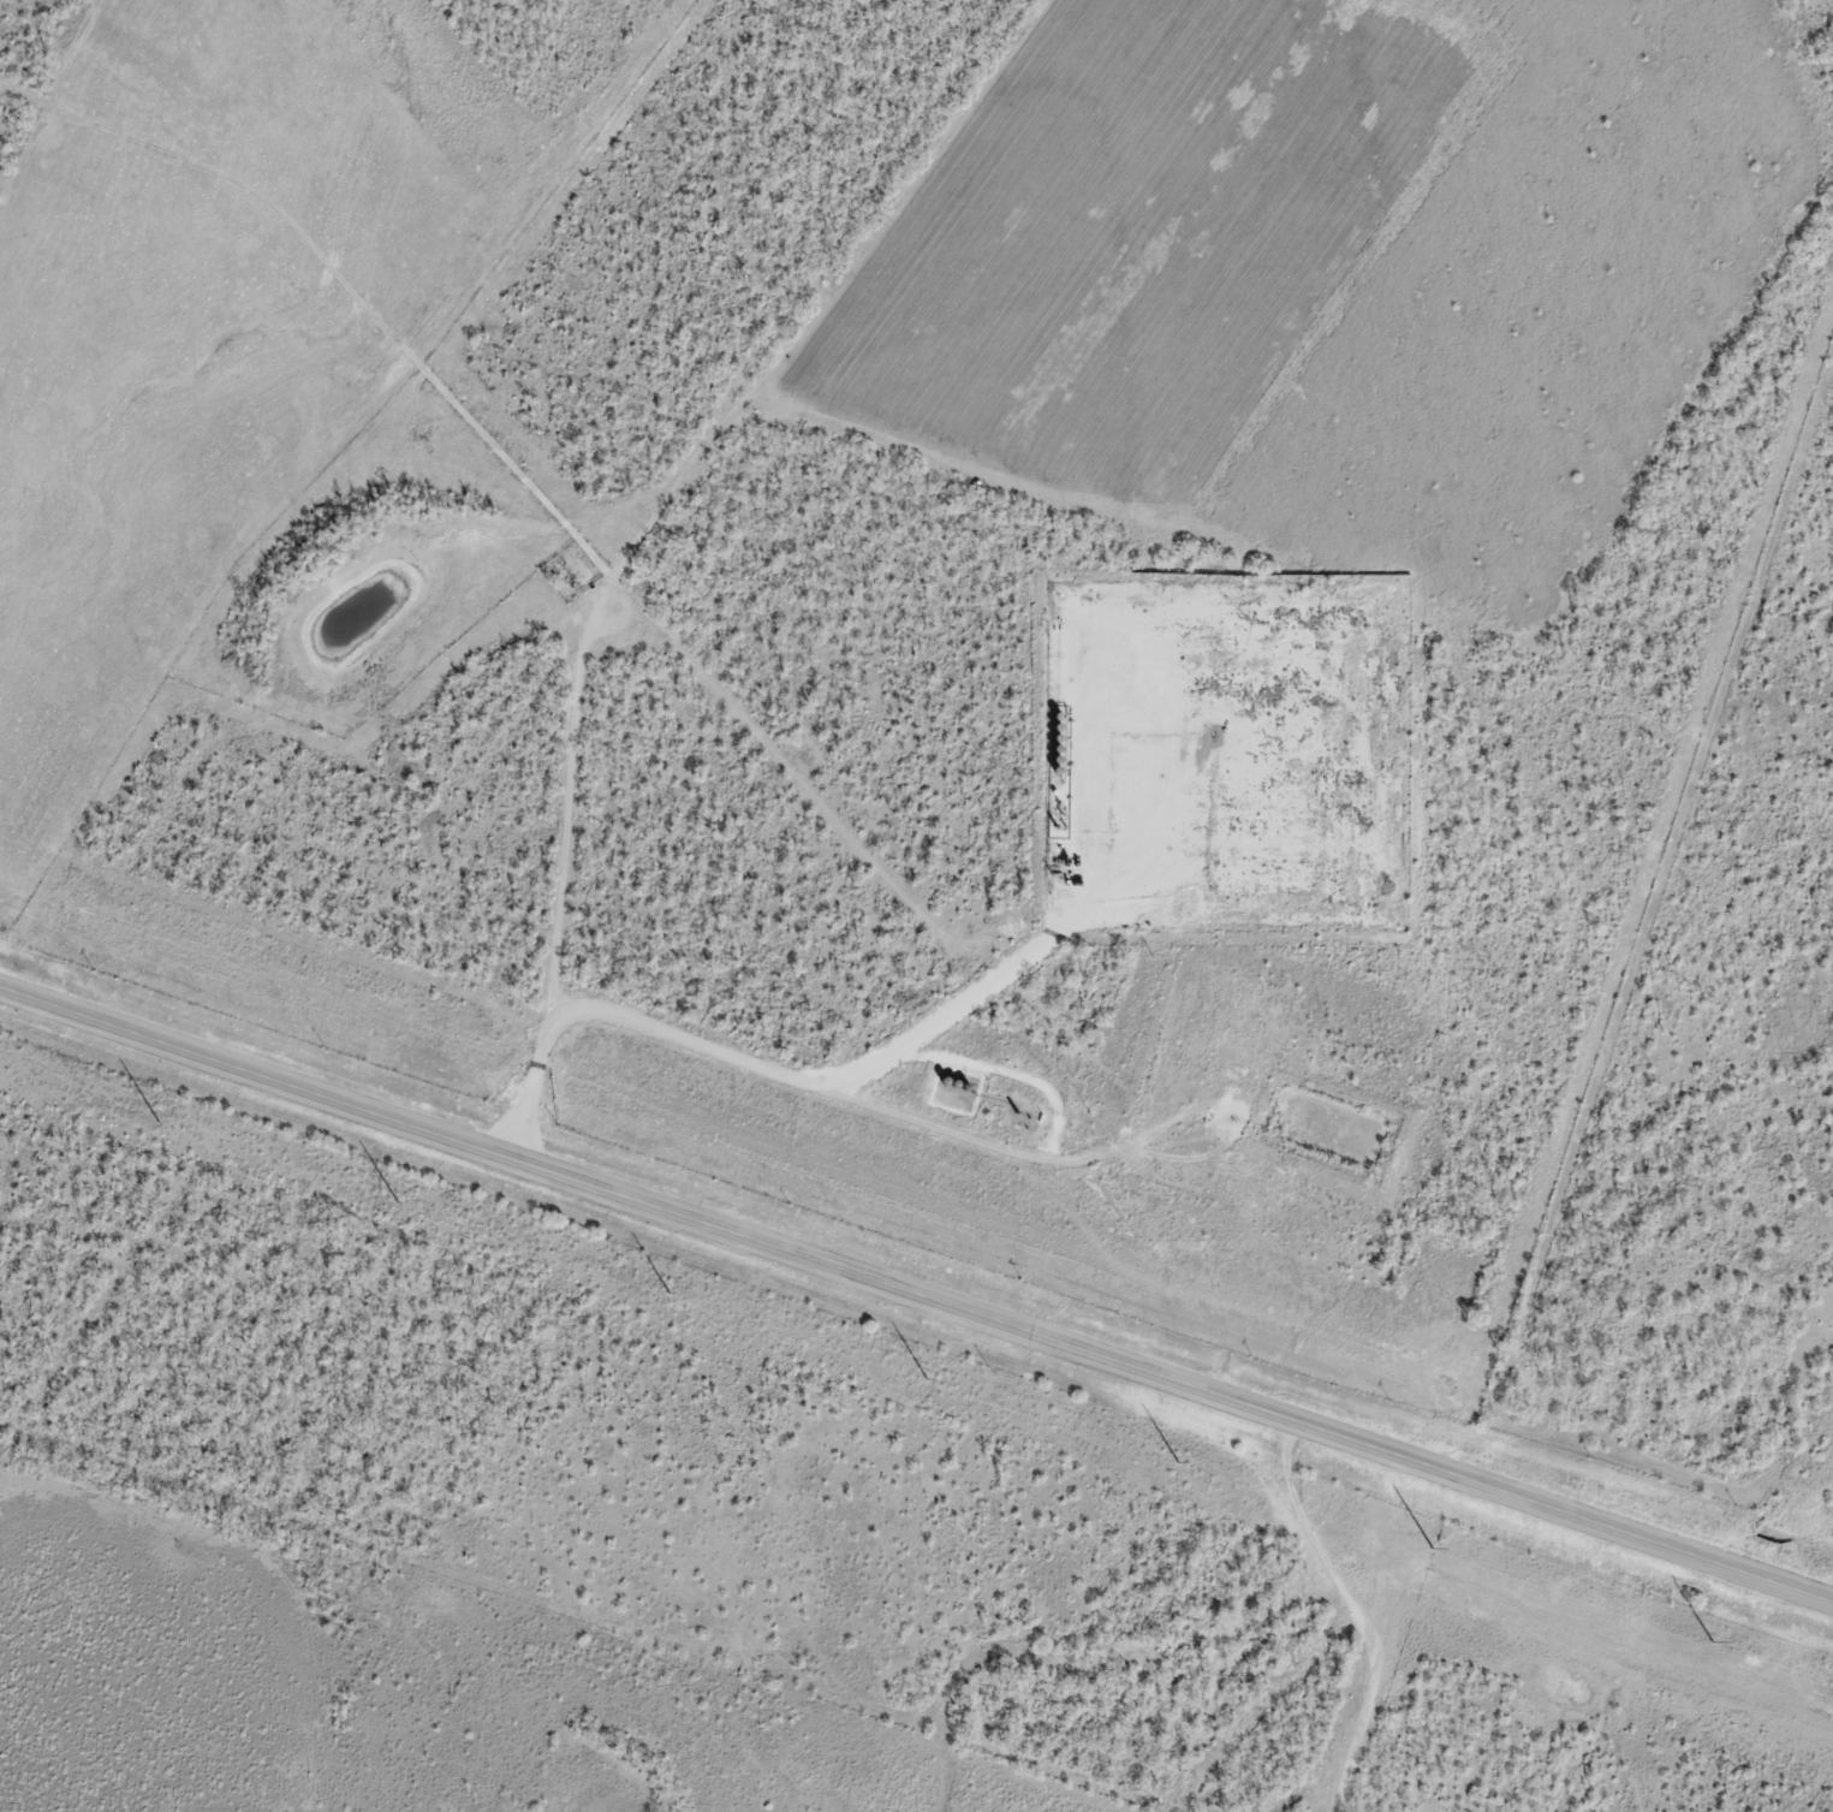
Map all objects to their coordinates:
power tower: (157, 1119)
power tower: (397, 1199)
power tower: (668, 1294)
road: (916, 1295)
power tower: (924, 1377)
power tower: (1179, 1462)
power tower: (1435, 1549)
road: (1347, 1612)
power tower: (1713, 1641)

